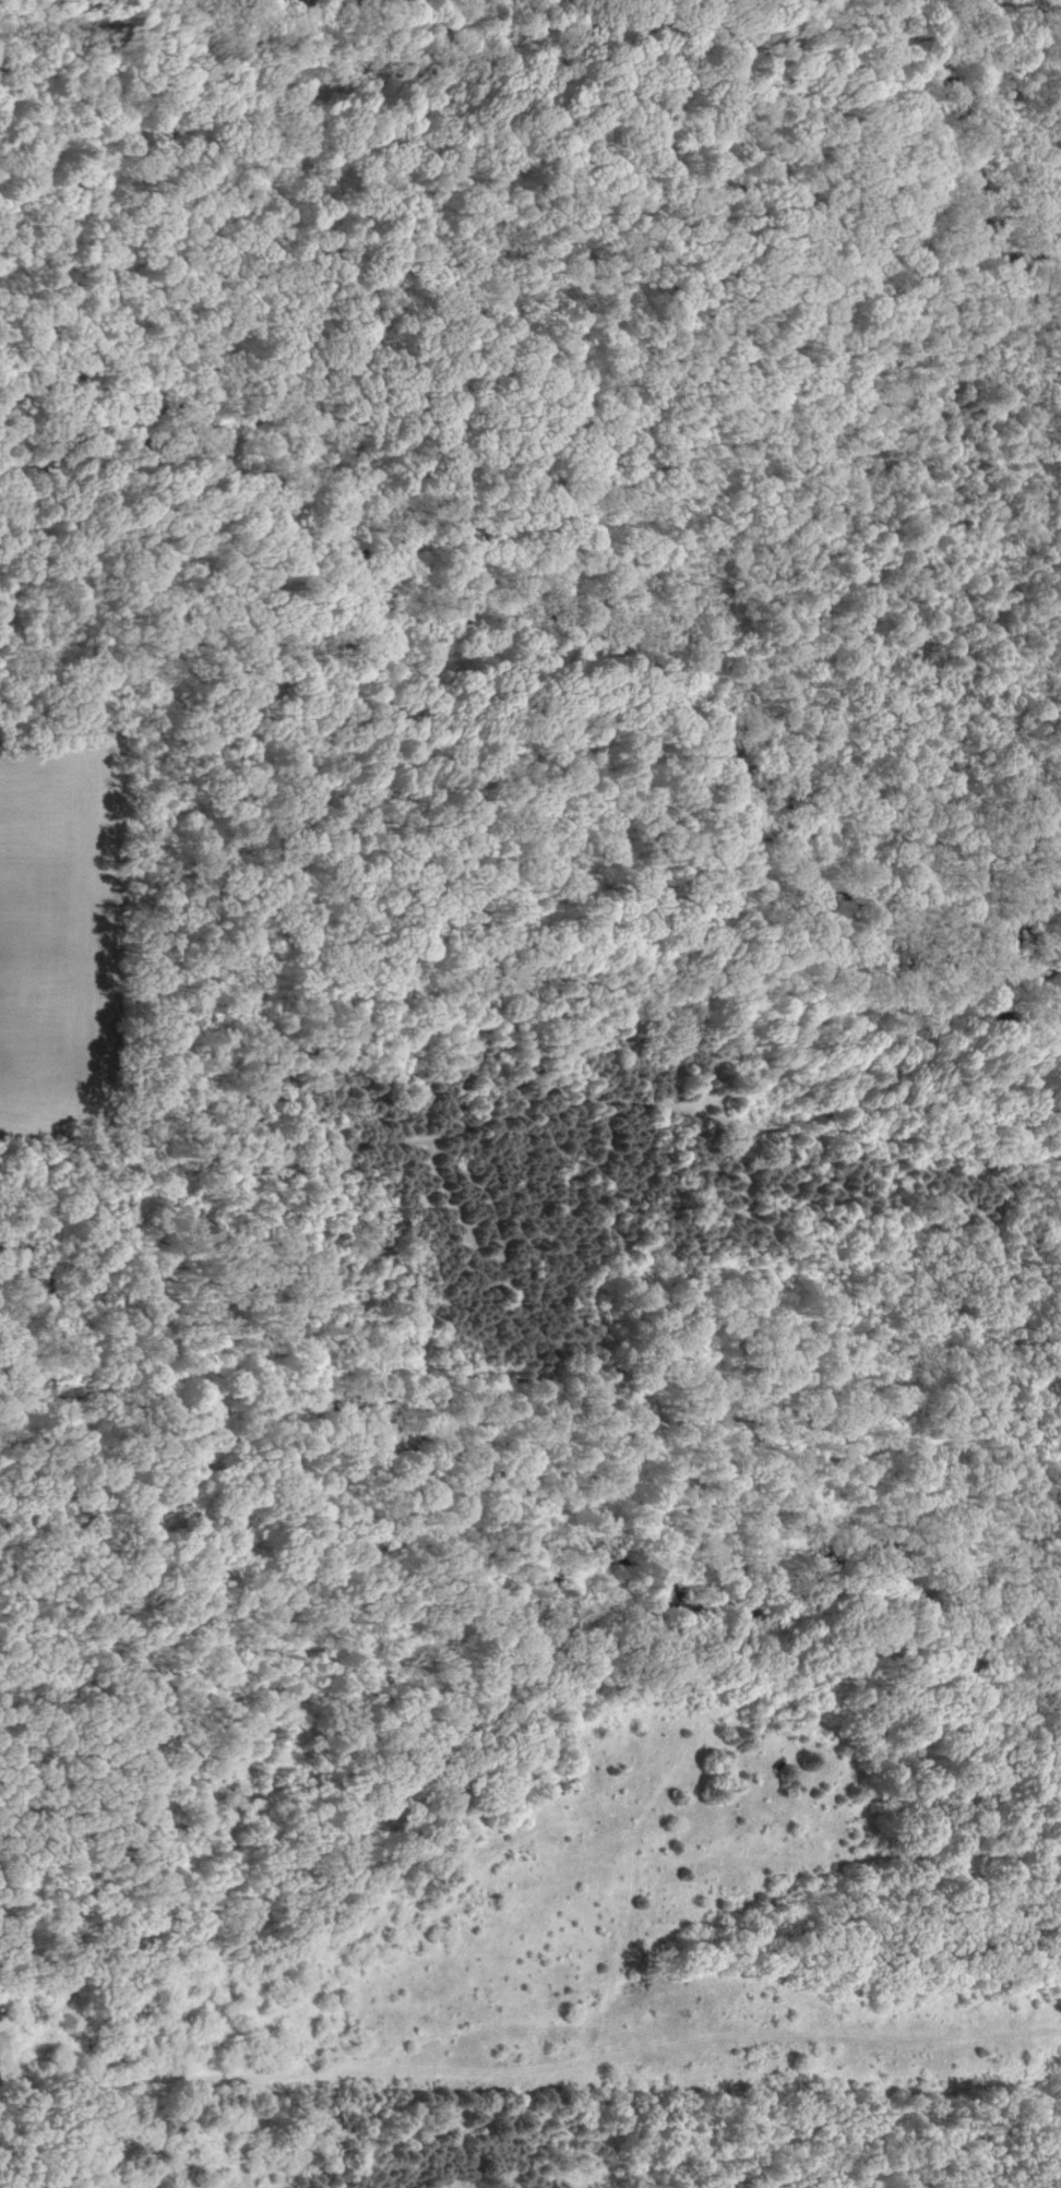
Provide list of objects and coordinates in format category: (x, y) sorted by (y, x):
road: (532, 2118)

